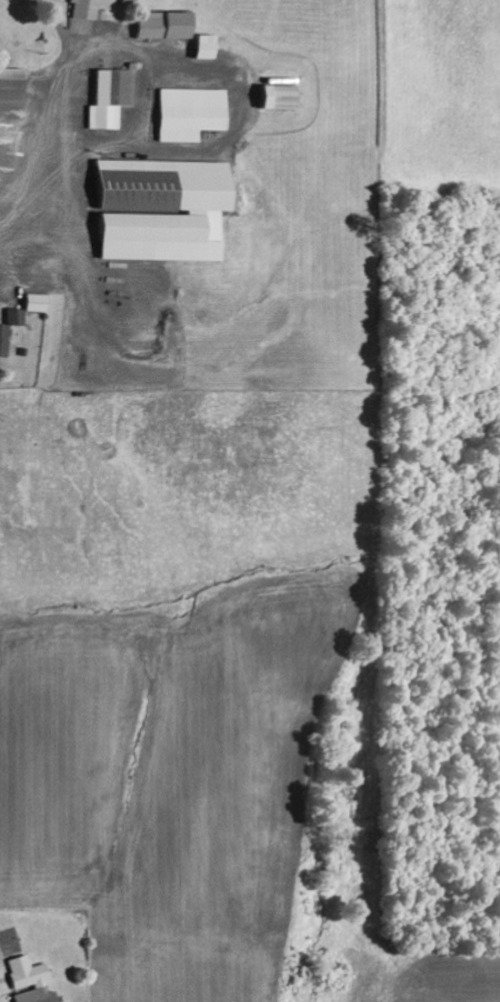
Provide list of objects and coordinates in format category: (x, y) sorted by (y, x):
building: (127, 1)
building: (89, 8)
building: (161, 25)
building: (203, 46)
building: (13, 84)
building: (114, 97)
building: (192, 113)
building: (158, 209)
building: (34, 302)
building: (14, 317)
building: (3, 340)
building: (28, 980)

